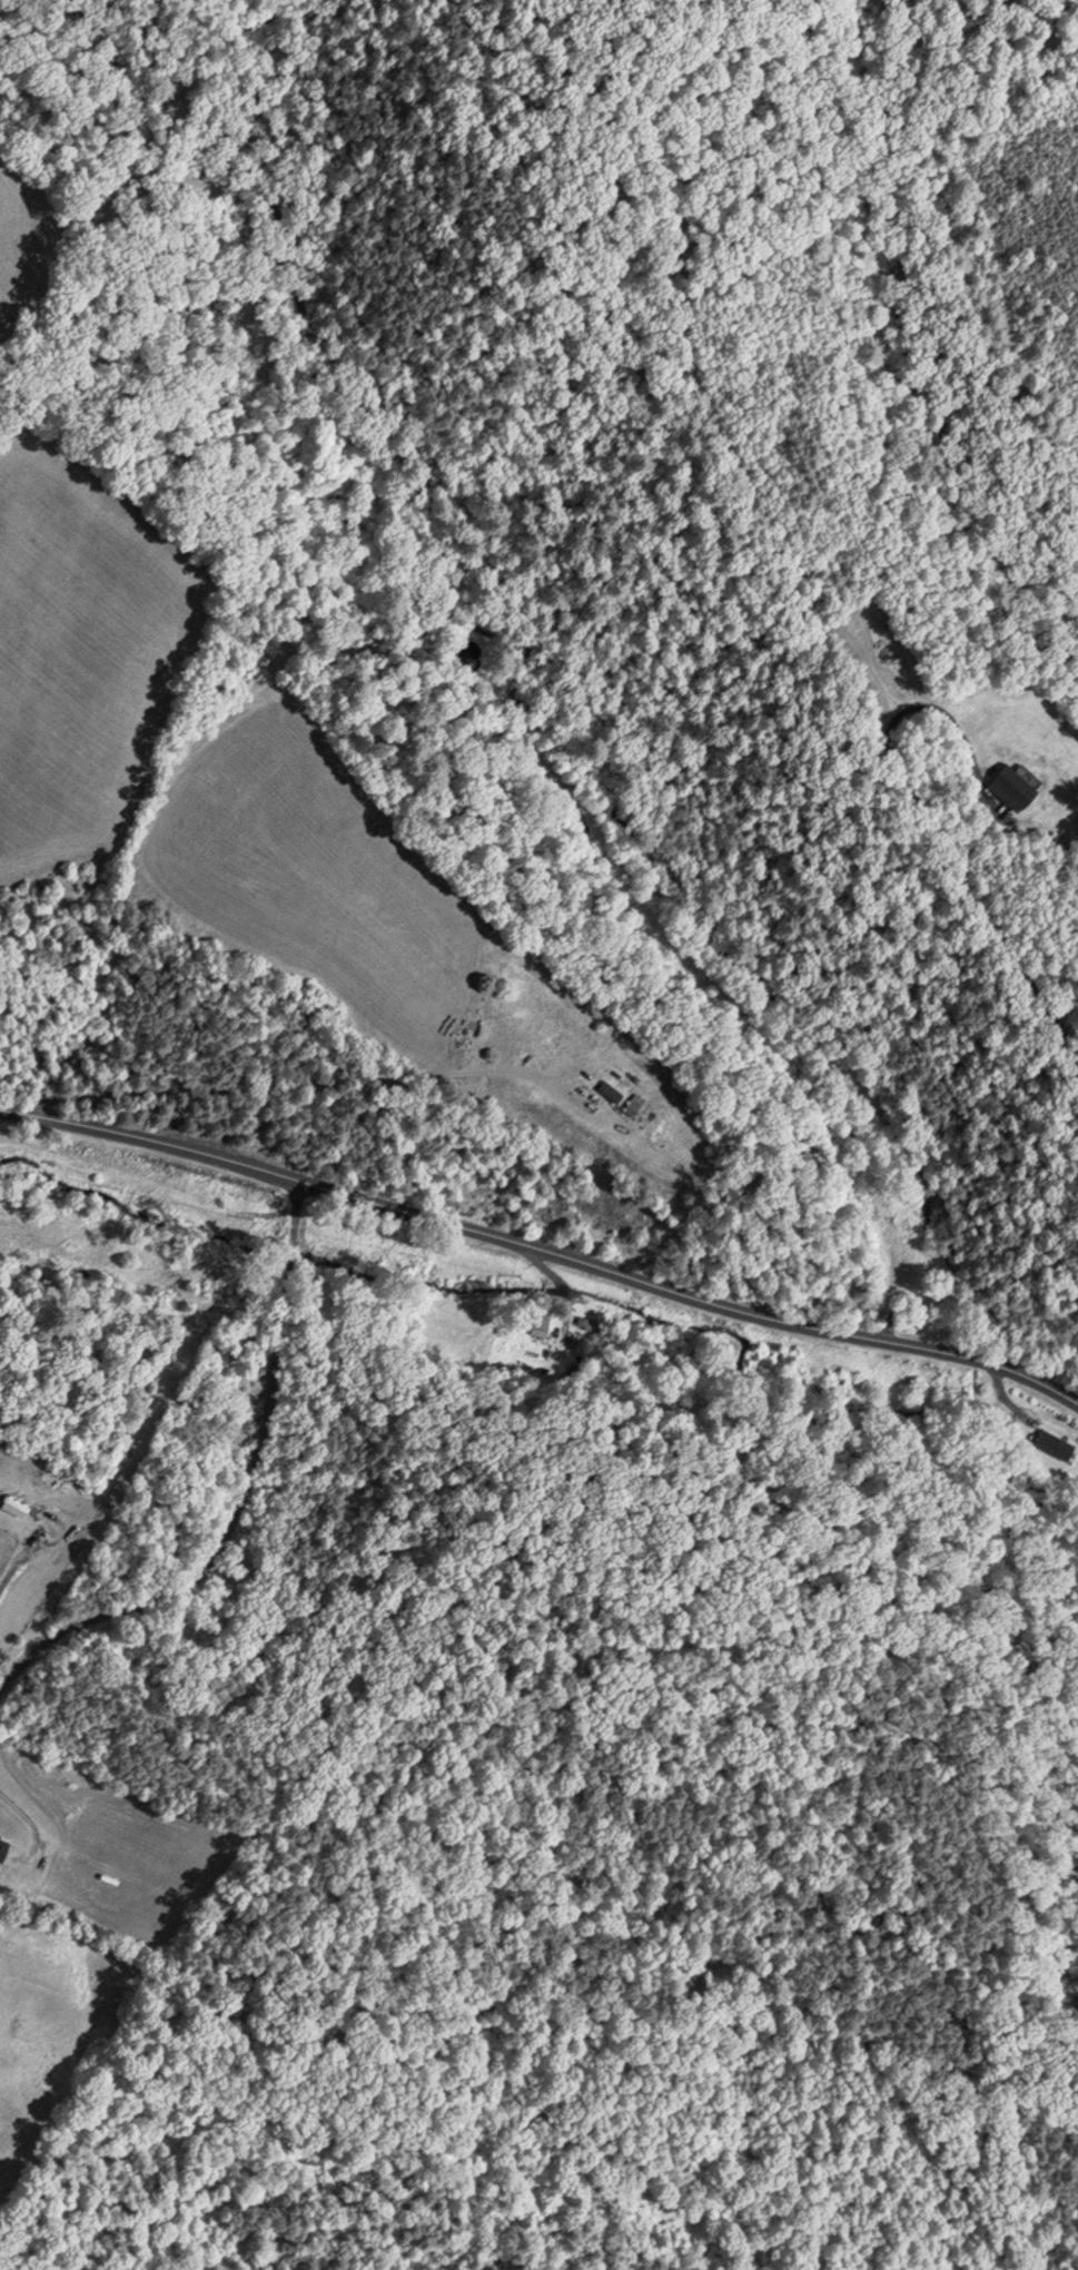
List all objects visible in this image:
building: (1013, 786)
road: (1003, 945)
building: (613, 1089)
building: (636, 1103)
road: (149, 1146)
road: (522, 1251)
building: (538, 1323)
road: (815, 1334)
road: (986, 1366)
building: (1055, 1443)
road: (228, 1481)
building: (4, 1847)

